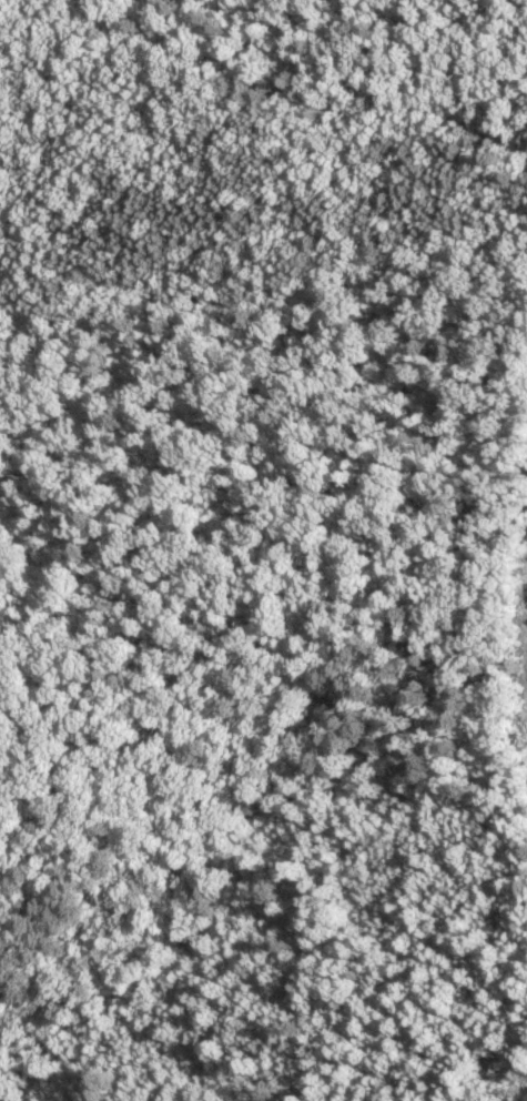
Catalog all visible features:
road: (262, 78)

